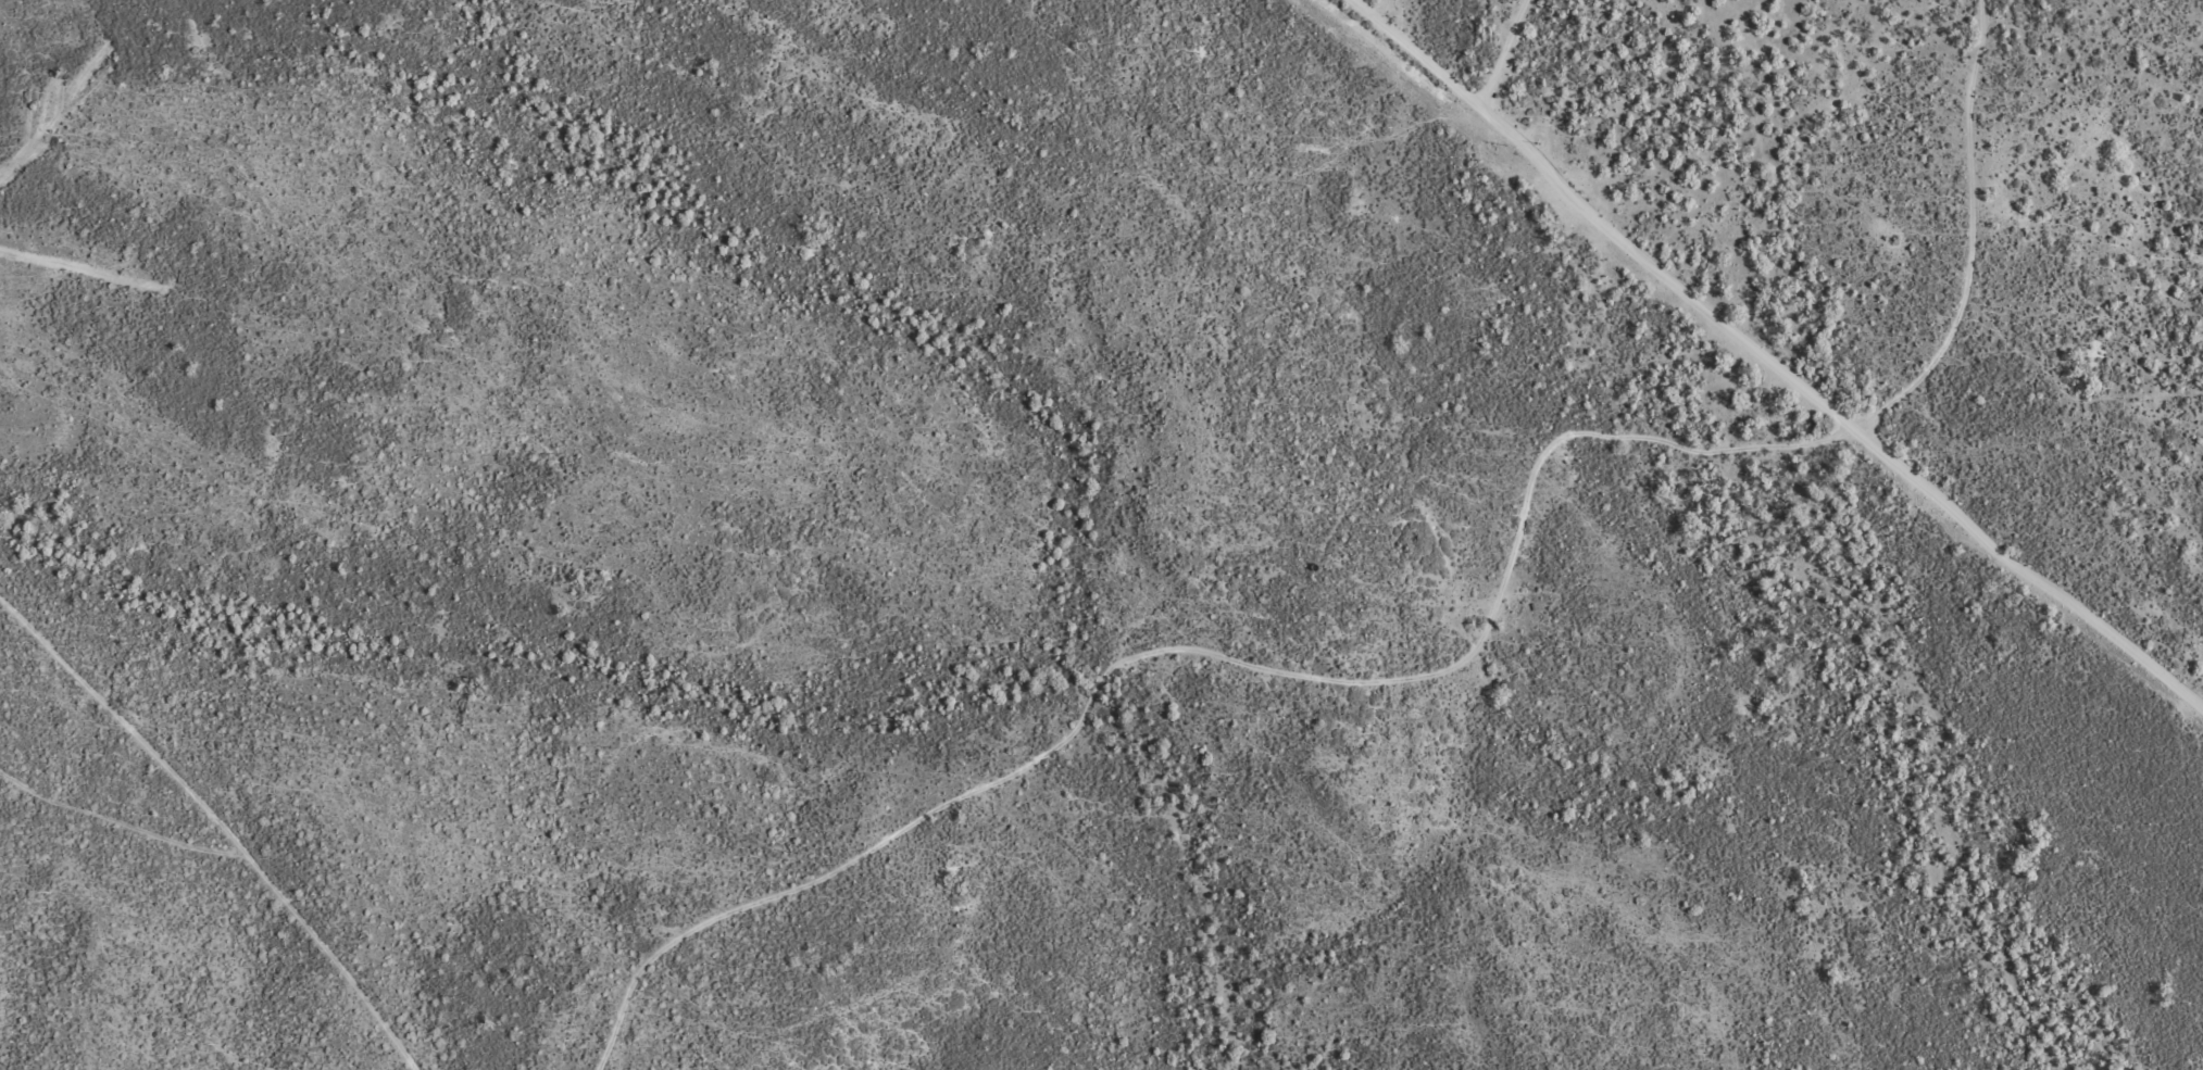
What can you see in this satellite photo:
road: (1980, 214)
road: (1944, 357)
road: (565, 370)
road: (1414, 407)
road: (1013, 772)
road: (305, 920)

